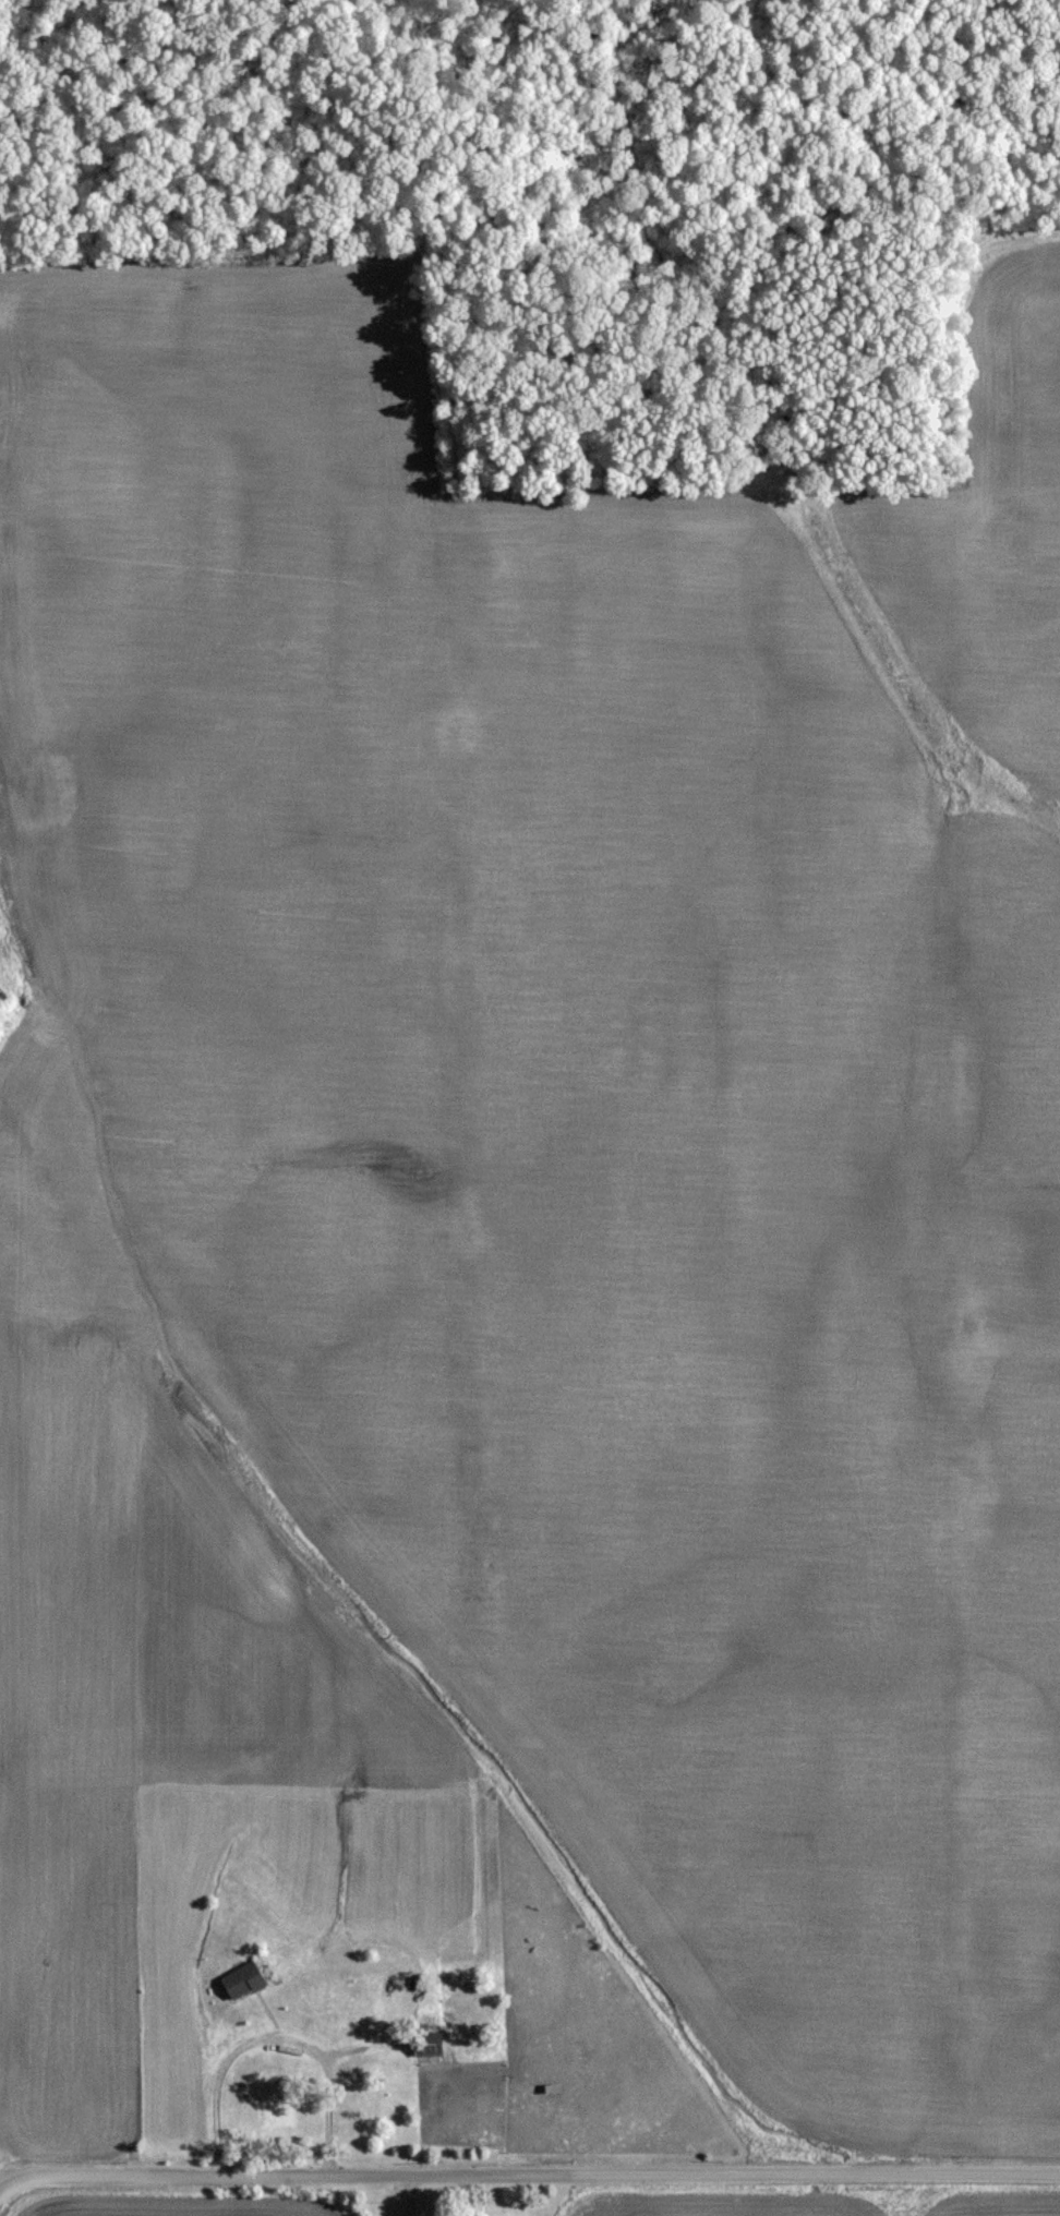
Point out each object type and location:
building: (238, 1979)
road: (272, 2039)
road: (527, 2171)
road: (408, 2193)

